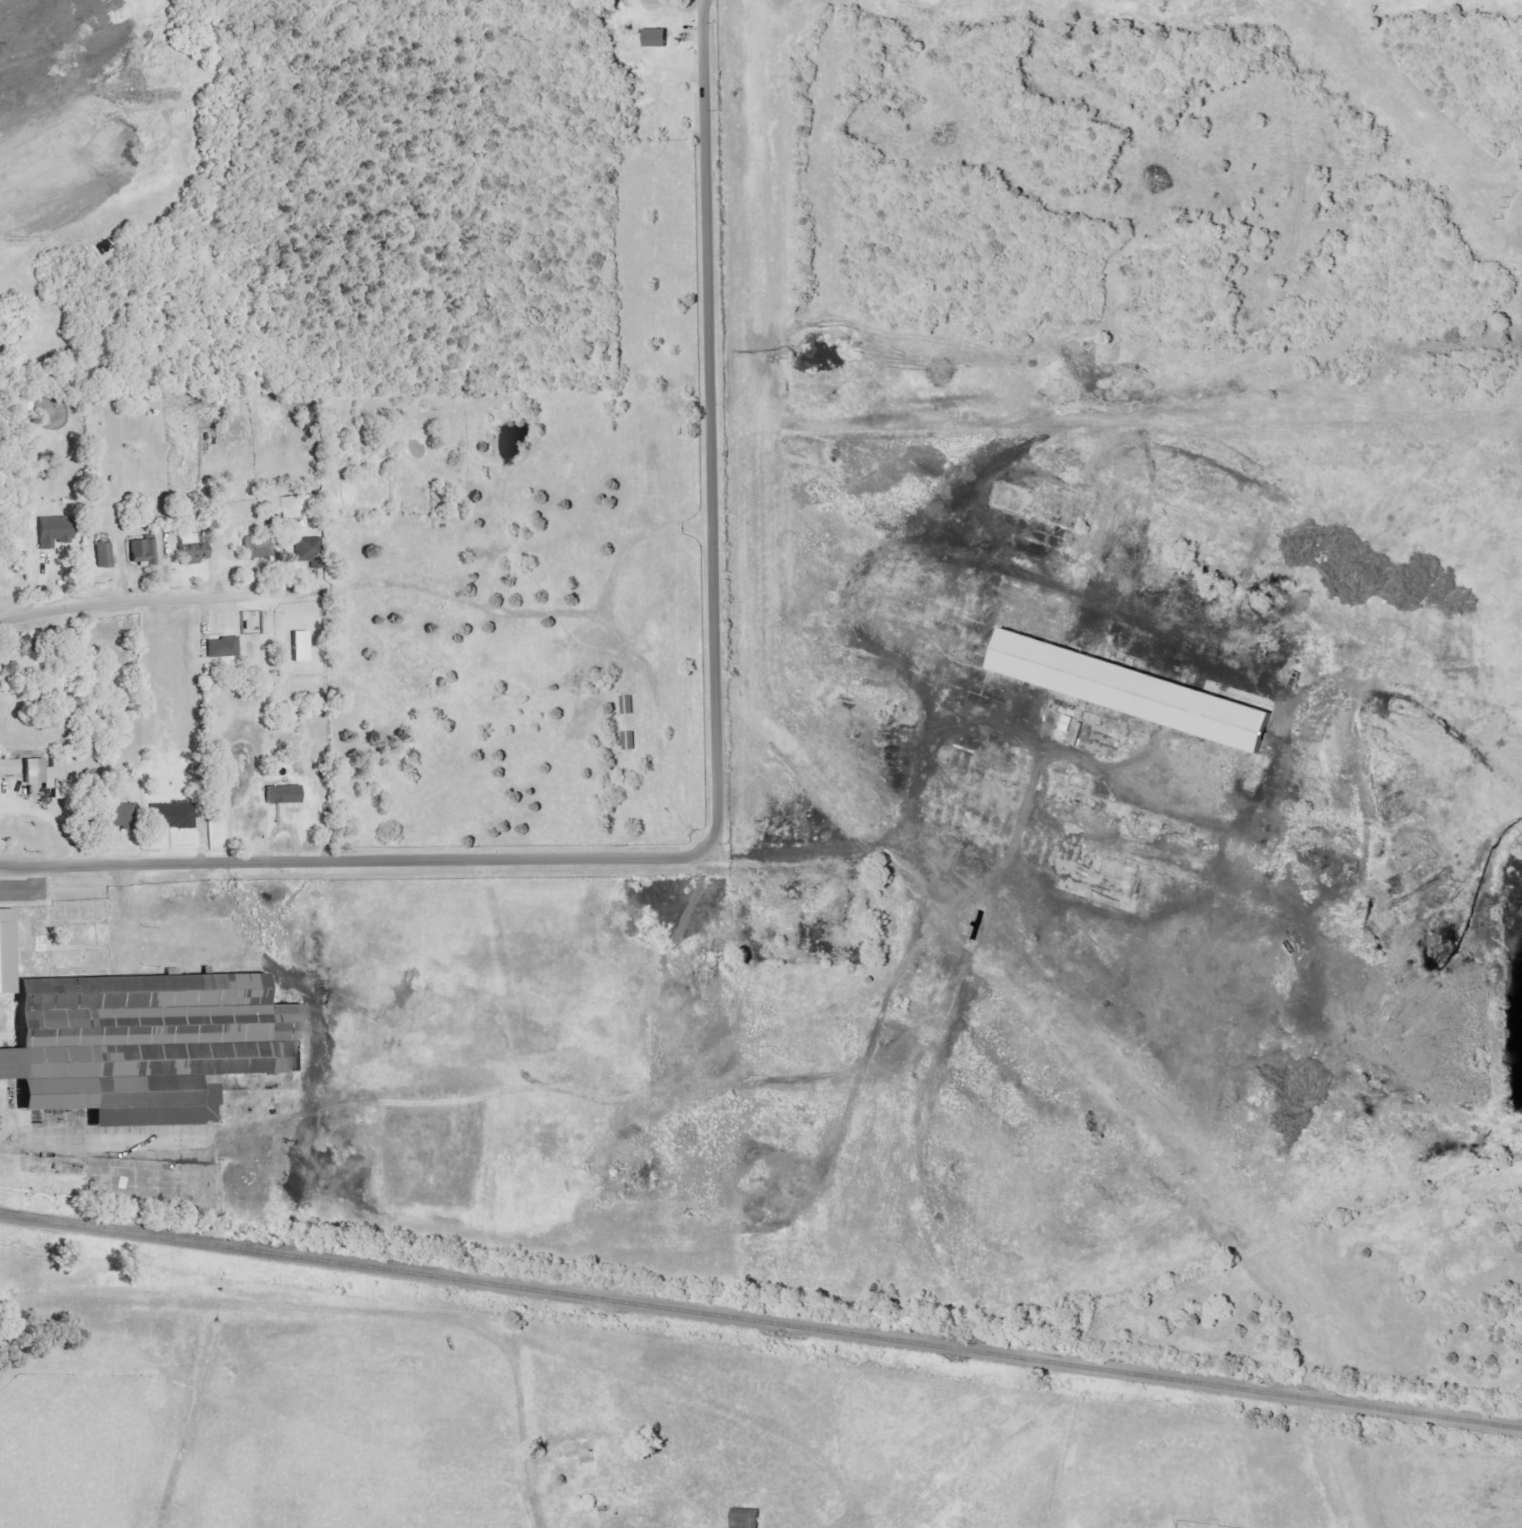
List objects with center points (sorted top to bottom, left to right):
building: (655, 38)
power tower: (1501, 206)
building: (53, 532)
building: (191, 549)
building: (257, 549)
building: (142, 550)
building: (103, 555)
road: (139, 600)
building: (299, 646)
building: (220, 651)
building: (1133, 692)
building: (627, 705)
building: (629, 741)
building: (8, 768)
building: (38, 771)
road: (717, 782)
building: (282, 795)
building: (113, 815)
building: (171, 816)
building: (72, 948)
building: (148, 1045)
road: (352, 1310)
railway: (760, 1322)

